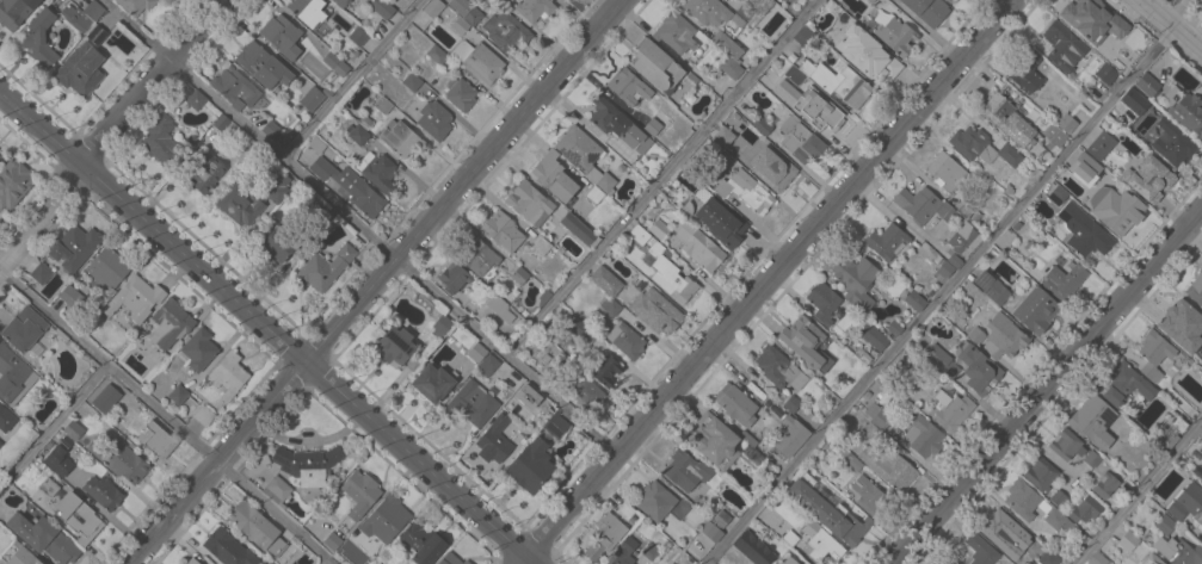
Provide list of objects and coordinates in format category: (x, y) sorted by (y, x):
building: (948, 0)
building: (870, 1)
road: (1145, 1)
building: (340, 2)
building: (135, 5)
building: (381, 8)
building: (433, 8)
building: (534, 8)
building: (926, 10)
building: (16, 11)
building: (466, 11)
road: (1176, 11)
building: (710, 12)
building: (310, 13)
building: (82, 14)
building: (1091, 14)
building: (460, 25)
road: (1171, 26)
building: (504, 30)
building: (674, 32)
building: (894, 33)
building: (282, 36)
building: (358, 36)
building: (802, 36)
building: (93, 37)
building: (39, 38)
building: (1135, 44)
building: (726, 45)
building: (1061, 47)
building: (867, 54)
building: (437, 55)
building: (479, 61)
building: (335, 63)
building: (263, 66)
building: (655, 66)
building: (731, 68)
building: (1025, 72)
building: (1105, 73)
building: (78, 74)
road: (355, 80)
building: (838, 81)
road: (150, 82)
building: (412, 82)
building: (1147, 83)
building: (627, 86)
building: (235, 88)
building: (460, 94)
building: (310, 98)
building: (790, 99)
building: (196, 100)
building: (1133, 101)
building: (381, 104)
building: (1185, 110)
building: (827, 113)
building: (433, 120)
building: (1009, 120)
building: (220, 122)
building: (617, 123)
building: (1066, 123)
building: (652, 126)
building: (760, 126)
building: (271, 129)
building: (1050, 132)
building: (358, 135)
building: (720, 135)
building: (401, 138)
building: (161, 141)
building: (800, 141)
building: (1165, 141)
building: (973, 144)
building: (1101, 145)
building: (733, 148)
building: (1009, 154)
building: (0, 156)
building: (584, 156)
building: (0, 157)
building: (772, 166)
building: (1084, 167)
building: (945, 172)
building: (205, 173)
building: (380, 174)
building: (553, 176)
road: (661, 179)
building: (1147, 179)
building: (13, 182)
building: (349, 186)
building: (745, 191)
building: (594, 193)
building: (704, 196)
building: (1056, 196)
building: (249, 199)
building: (526, 202)
building: (920, 204)
building: (1115, 209)
building: (326, 213)
road: (42, 221)
building: (577, 228)
road: (359, 229)
building: (658, 229)
building: (726, 230)
building: (503, 231)
building: (1084, 231)
building: (637, 234)
building: (963, 238)
building: (886, 241)
building: (278, 243)
building: (540, 246)
building: (698, 246)
building: (74, 247)
building: (479, 256)
building: (107, 267)
building: (325, 267)
building: (943, 271)
building: (41, 273)
building: (518, 275)
building: (668, 275)
building: (454, 277)
road: (771, 279)
building: (605, 280)
building: (856, 280)
building: (1064, 280)
road: (377, 281)
building: (1195, 289)
building: (995, 292)
road: (939, 296)
building: (70, 297)
building: (135, 298)
building: (914, 300)
building: (822, 302)
building: (610, 306)
building: (499, 308)
building: (1035, 310)
building: (654, 311)
building: (1181, 320)
building: (169, 323)
road: (265, 323)
building: (440, 326)
building: (24, 329)
building: (579, 329)
building: (975, 335)
building: (874, 336)
building: (1003, 337)
building: (625, 340)
building: (805, 342)
building: (396, 347)
building: (198, 349)
building: (476, 353)
building: (1153, 353)
building: (1196, 357)
building: (941, 361)
building: (487, 365)
building: (775, 366)
building: (606, 370)
building: (979, 370)
building: (228, 374)
building: (13, 376)
building: (512, 379)
building: (432, 383)
building: (1124, 384)
road: (1047, 388)
building: (525, 390)
building: (178, 393)
building: (584, 393)
building: (791, 403)
building: (470, 404)
building: (735, 404)
building: (954, 414)
building: (203, 416)
building: (877, 416)
building: (6, 419)
road: (162, 419)
building: (1092, 421)
building: (555, 424)
road: (53, 429)
building: (73, 429)
building: (870, 432)
building: (790, 436)
building: (923, 436)
building: (713, 440)
building: (156, 441)
building: (493, 442)
building: (0, 444)
building: (1066, 445)
building: (1200, 448)
building: (58, 457)
building: (118, 459)
building: (1092, 459)
building: (307, 464)
building: (853, 464)
building: (530, 466)
building: (889, 467)
building: (685, 470)
building: (1041, 475)
building: (1105, 485)
building: (48, 486)
building: (277, 490)
building: (103, 492)
building: (360, 494)
road: (1140, 494)
building: (868, 496)
building: (1058, 498)
building: (1024, 500)
building: (655, 501)
building: (1186, 503)
building: (1084, 509)
building: (623, 510)
building: (826, 510)
building: (78, 516)
building: (386, 519)
building: (721, 519)
building: (1058, 520)
building: (1164, 523)
building: (257, 528)
building: (998, 529)
building: (710, 532)
building: (605, 535)
building: (43, 537)
building: (332, 541)
building: (1128, 541)
building: (421, 543)
building: (819, 543)
building: (228, 548)
building: (752, 548)
building: (980, 550)
building: (649, 551)
building: (1178, 551)
building: (352, 552)
building: (622, 552)
building: (18, 554)
building: (1048, 557)
building: (1097, 558)
building: (450, 559)
building: (1151, 559)
road: (525, 560)
road: (531, 560)
building: (788, 560)
building: (191, 562)
road: (328, 562)
road: (332, 562)
building: (950, 562)
building: (670, 563)
building: (672, 563)

